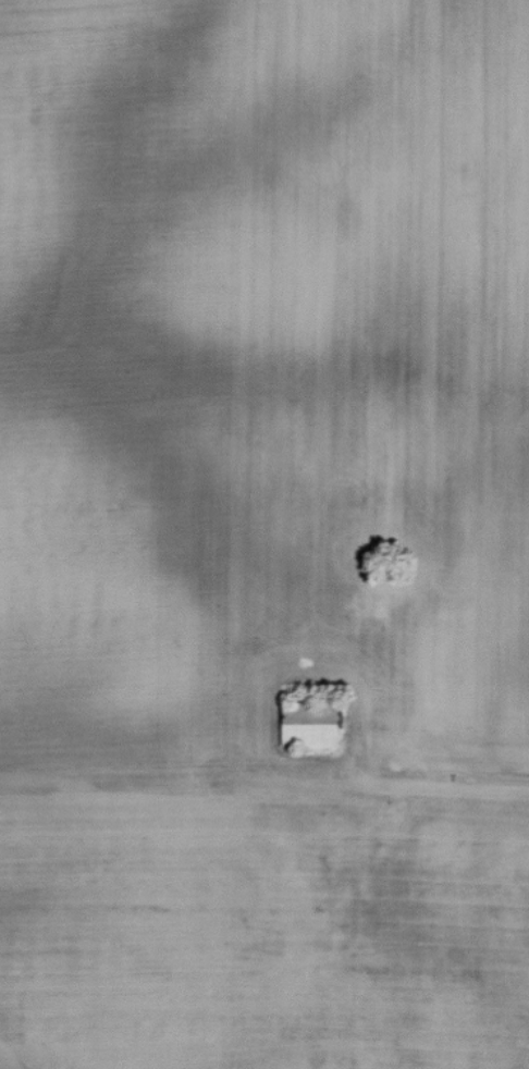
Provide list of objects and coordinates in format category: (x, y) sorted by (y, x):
building: (310, 728)

